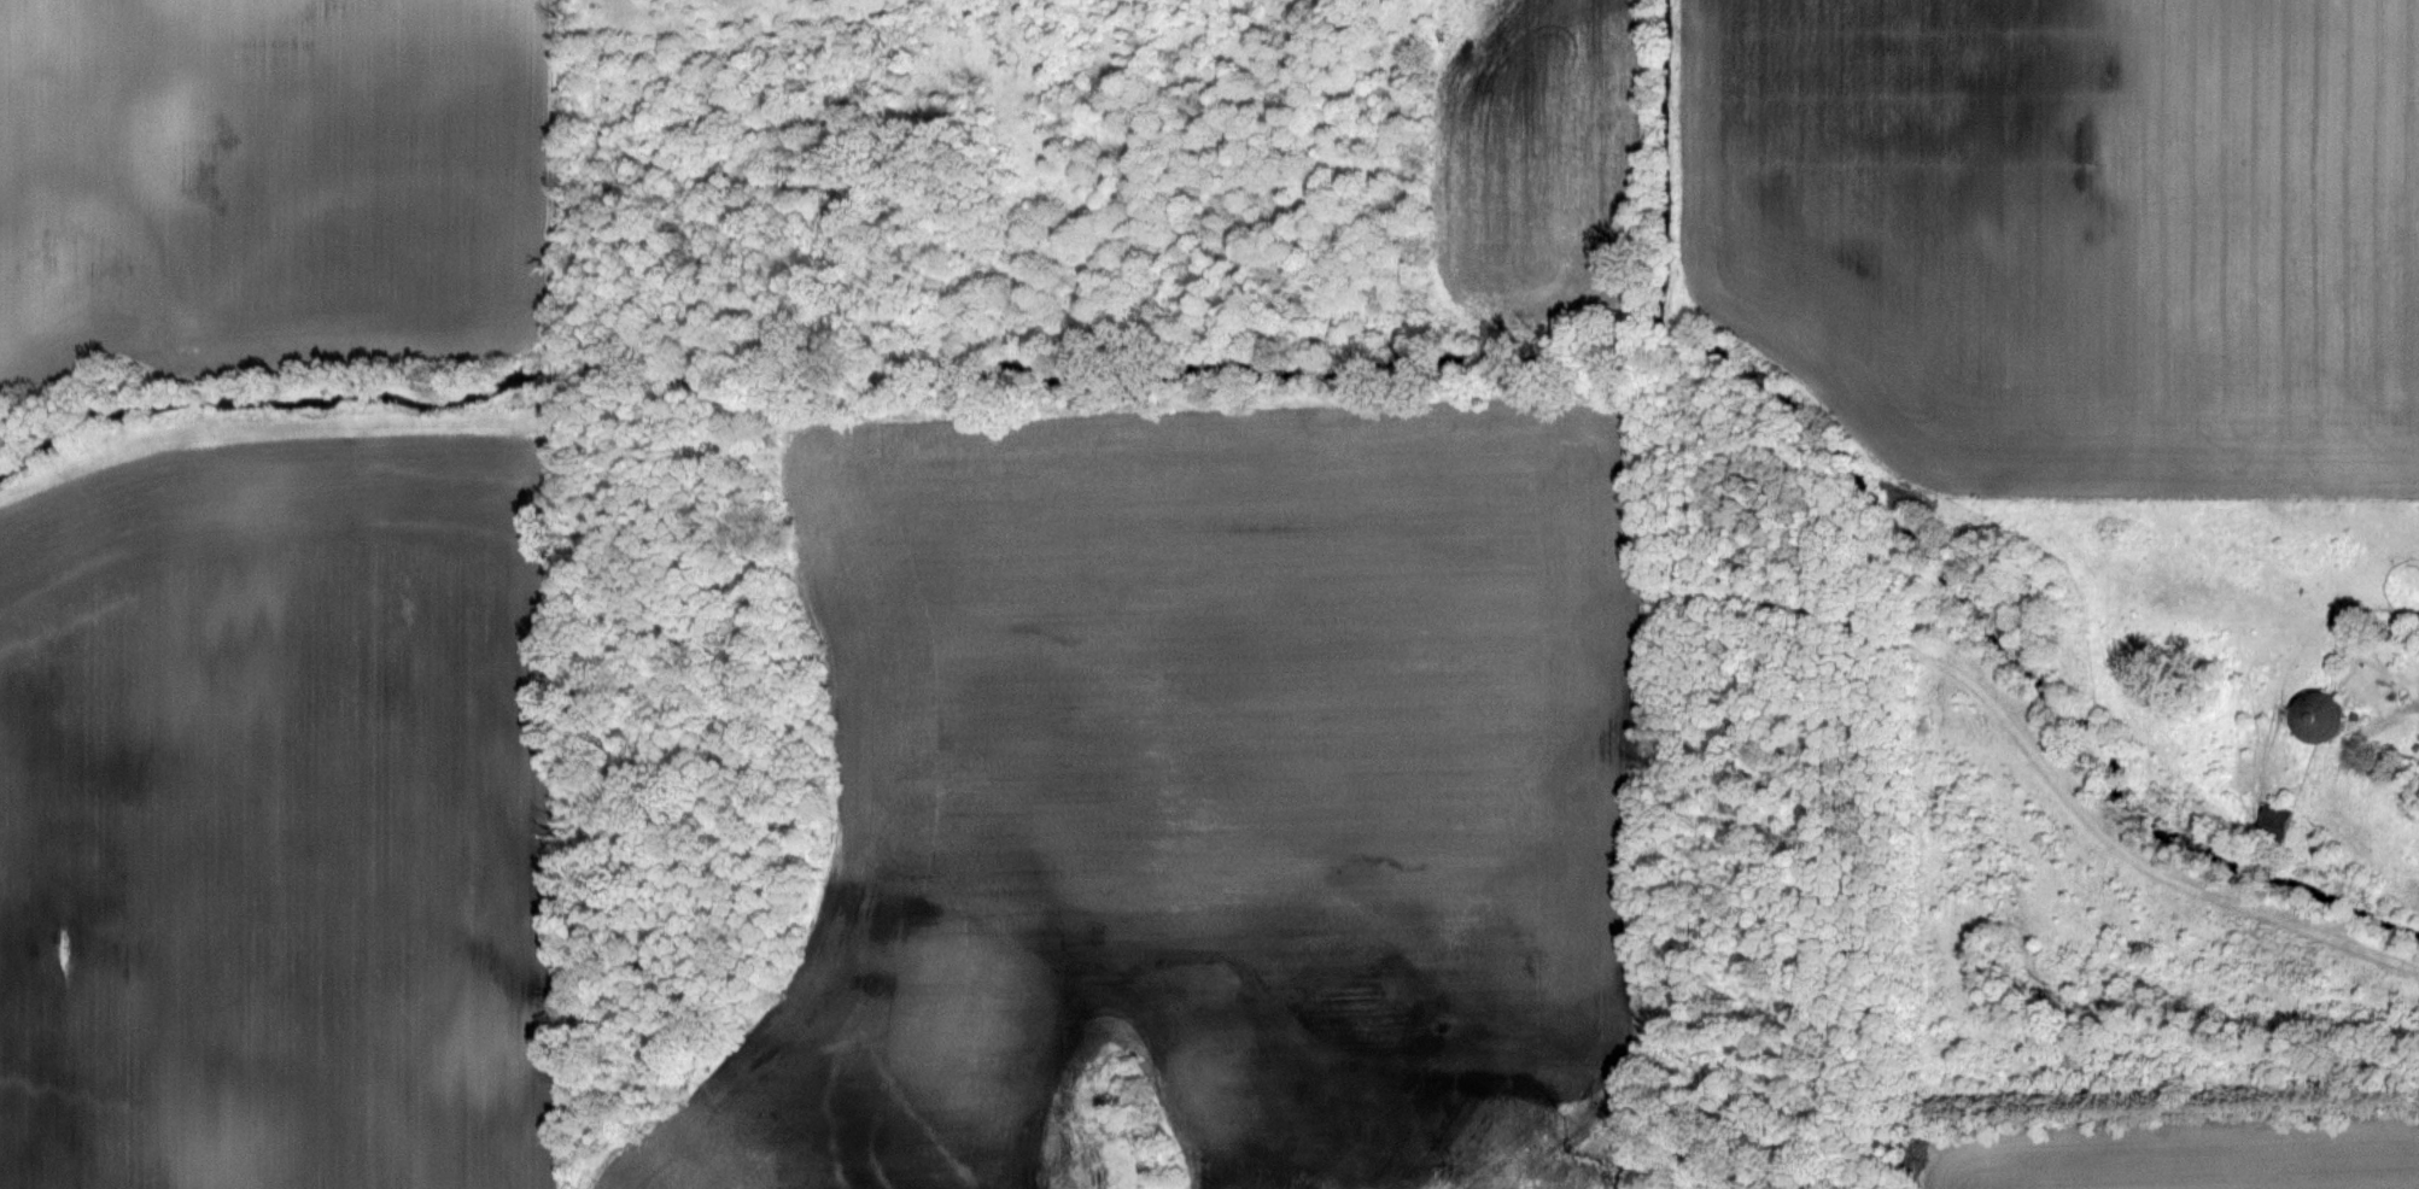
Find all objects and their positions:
building: (2320, 715)
building: (2273, 820)

